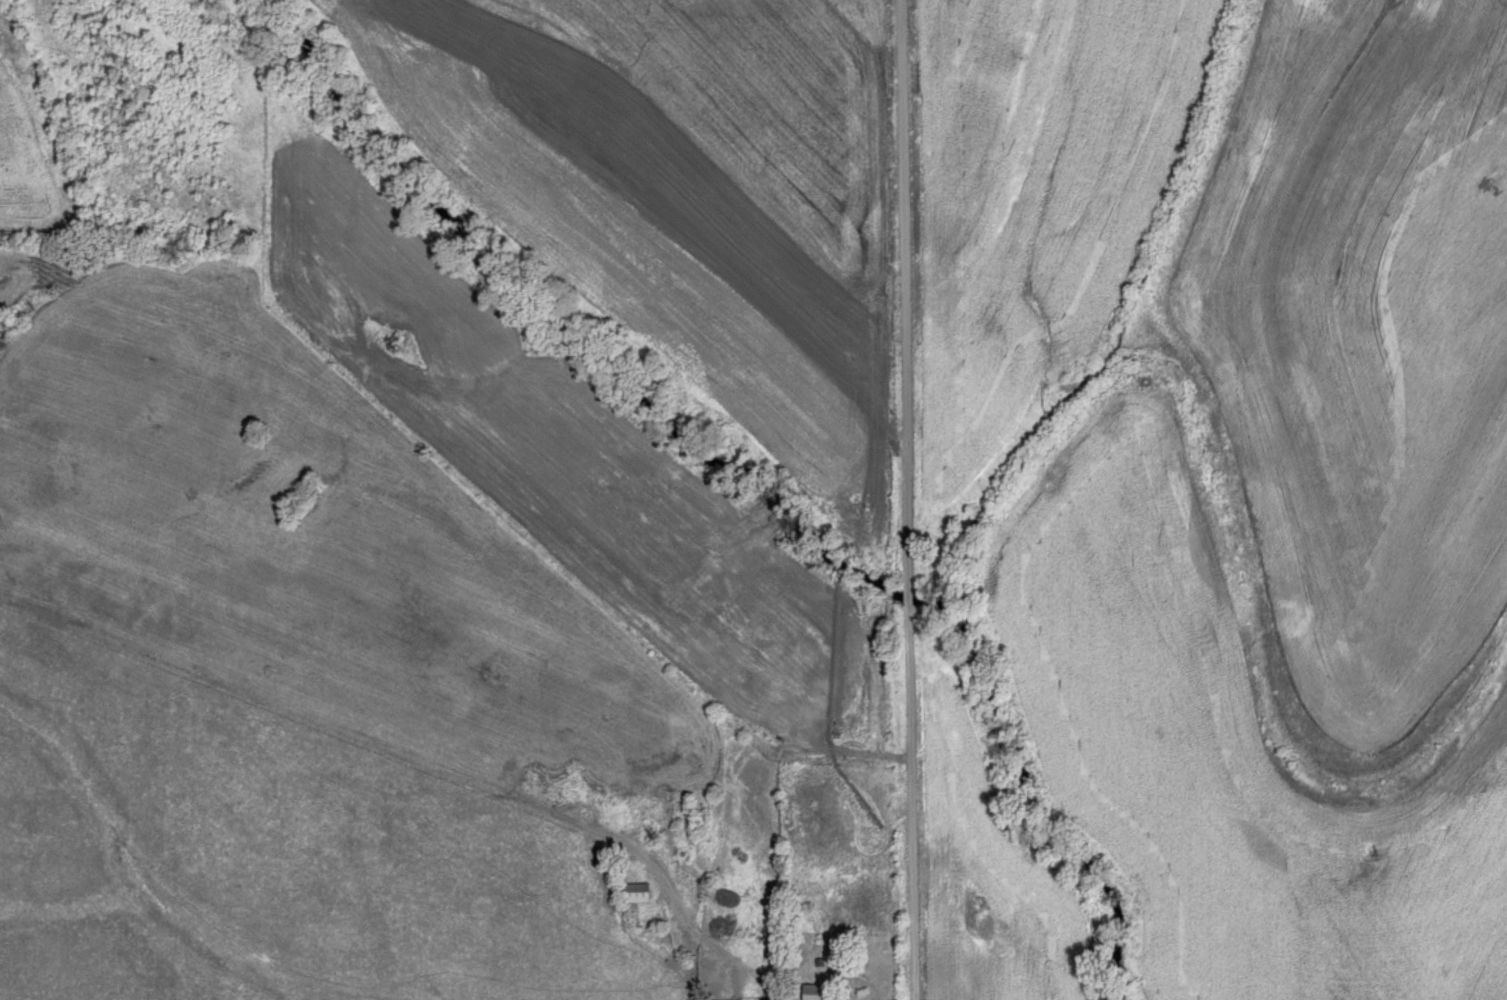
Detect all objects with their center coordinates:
road: (908, 499)
building: (633, 893)
building: (814, 992)

